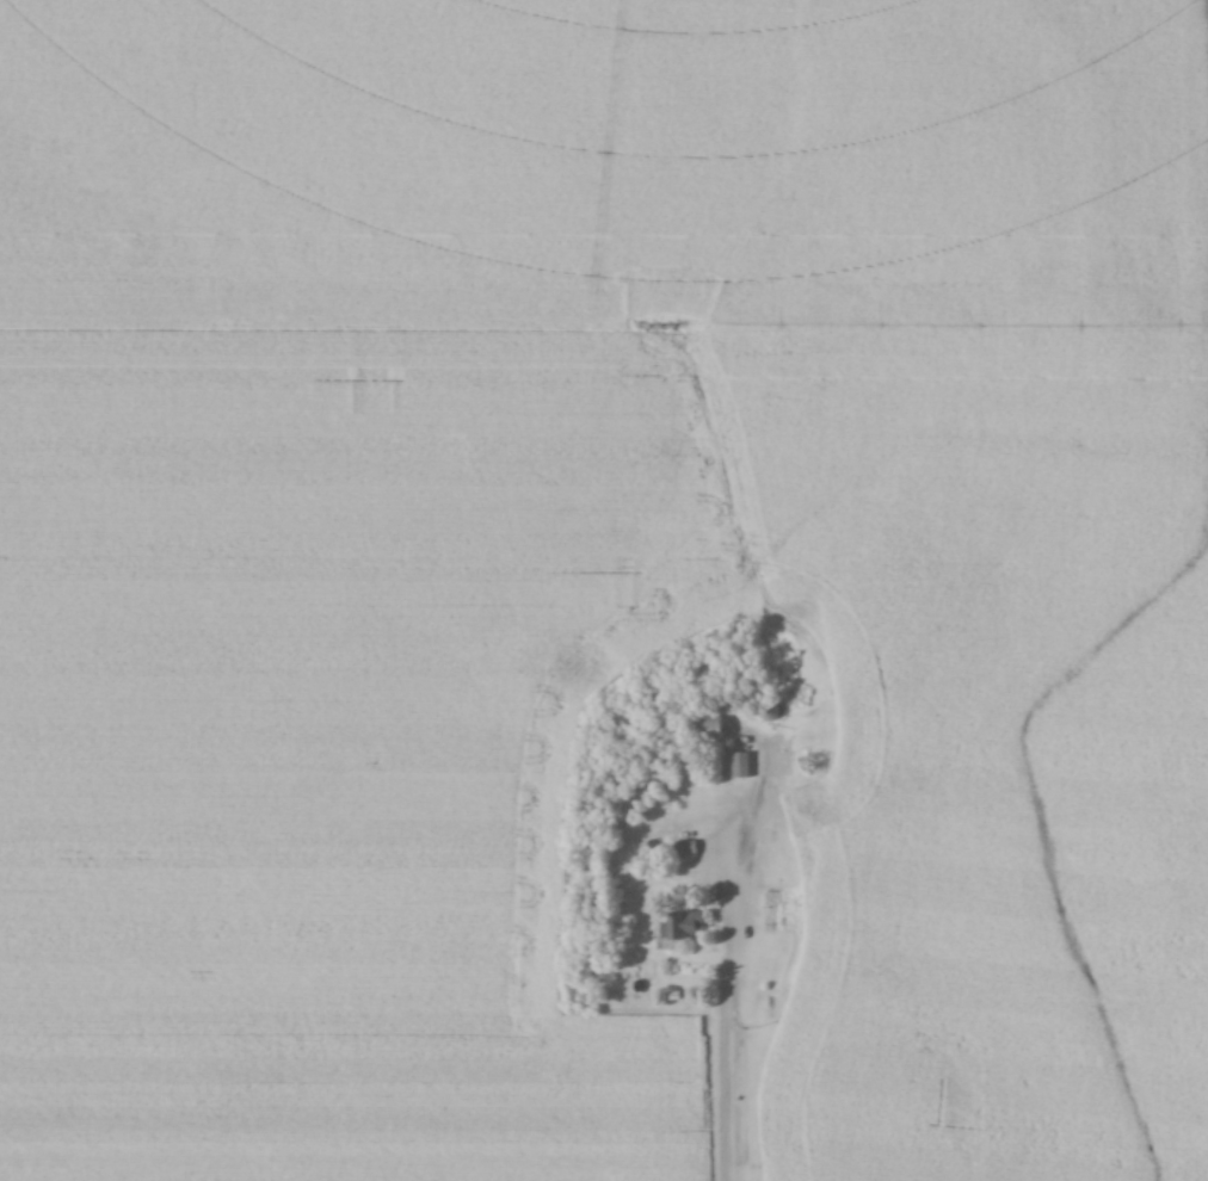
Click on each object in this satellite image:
building: (707, 731)
building: (682, 928)
road: (726, 967)

